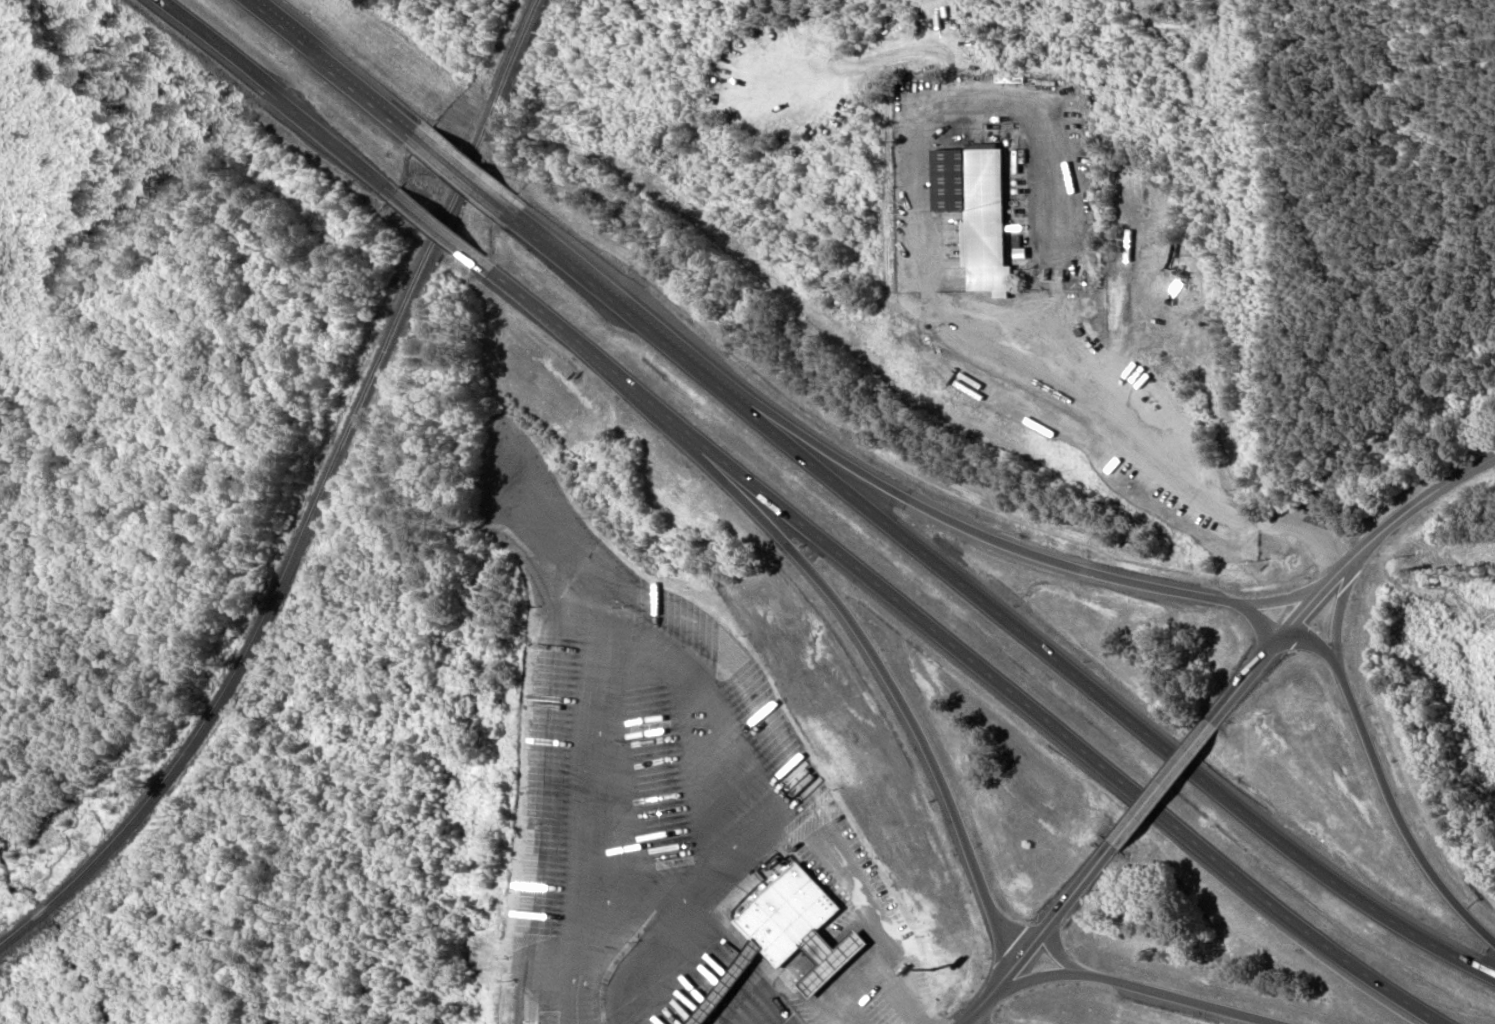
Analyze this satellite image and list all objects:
road: (337, 69)
road: (278, 96)
road: (464, 172)
building: (976, 213)
road: (440, 227)
railway: (315, 503)
road: (1376, 533)
road: (1001, 543)
road: (990, 607)
road: (1256, 616)
road: (1314, 643)
road: (958, 650)
road: (1245, 680)
road: (896, 695)
road: (1188, 752)
road: (1371, 756)
road: (1138, 813)
road: (1072, 903)
building: (786, 914)
road: (997, 993)
road: (1149, 993)

